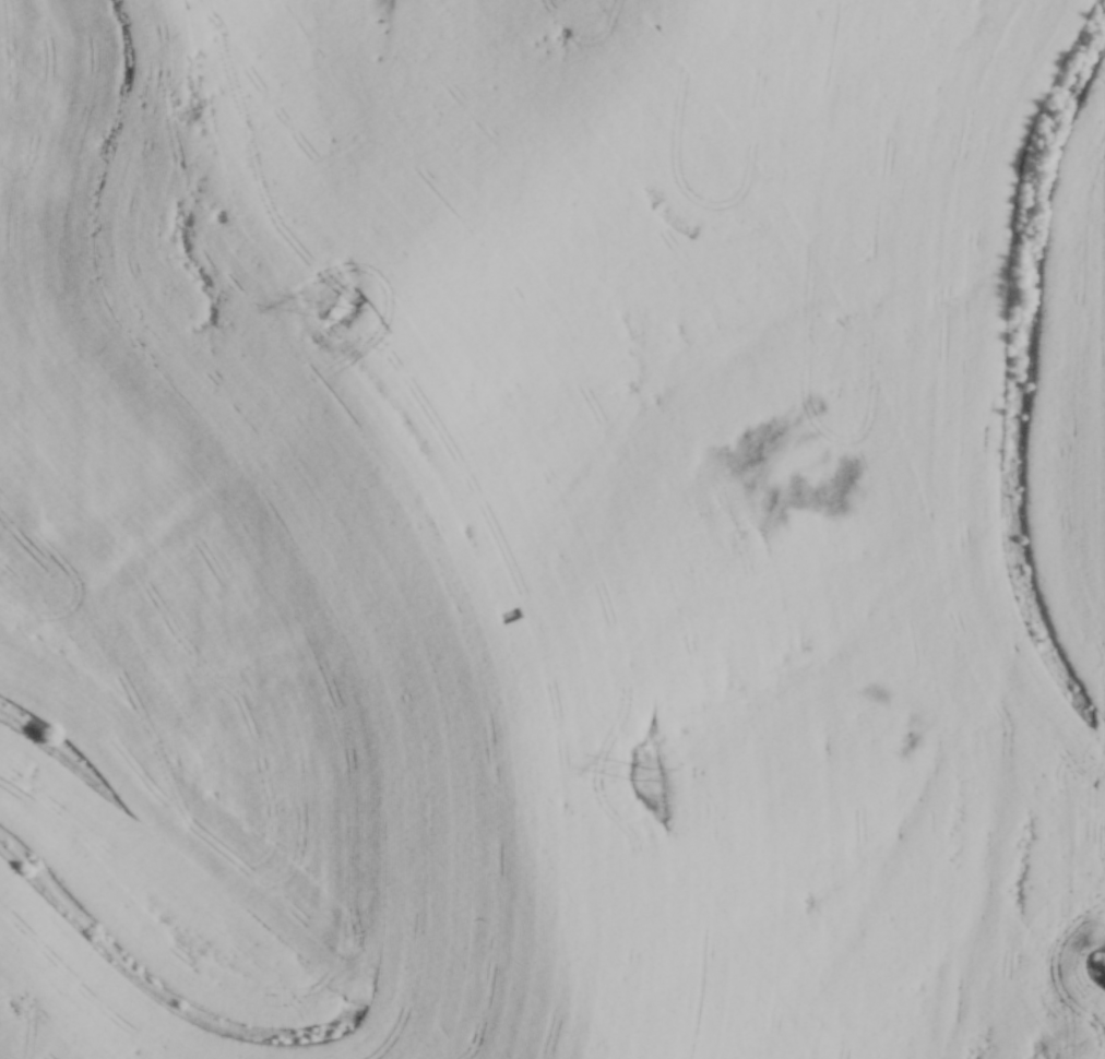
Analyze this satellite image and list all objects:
power tower: (340, 317)
power tower: (647, 782)

